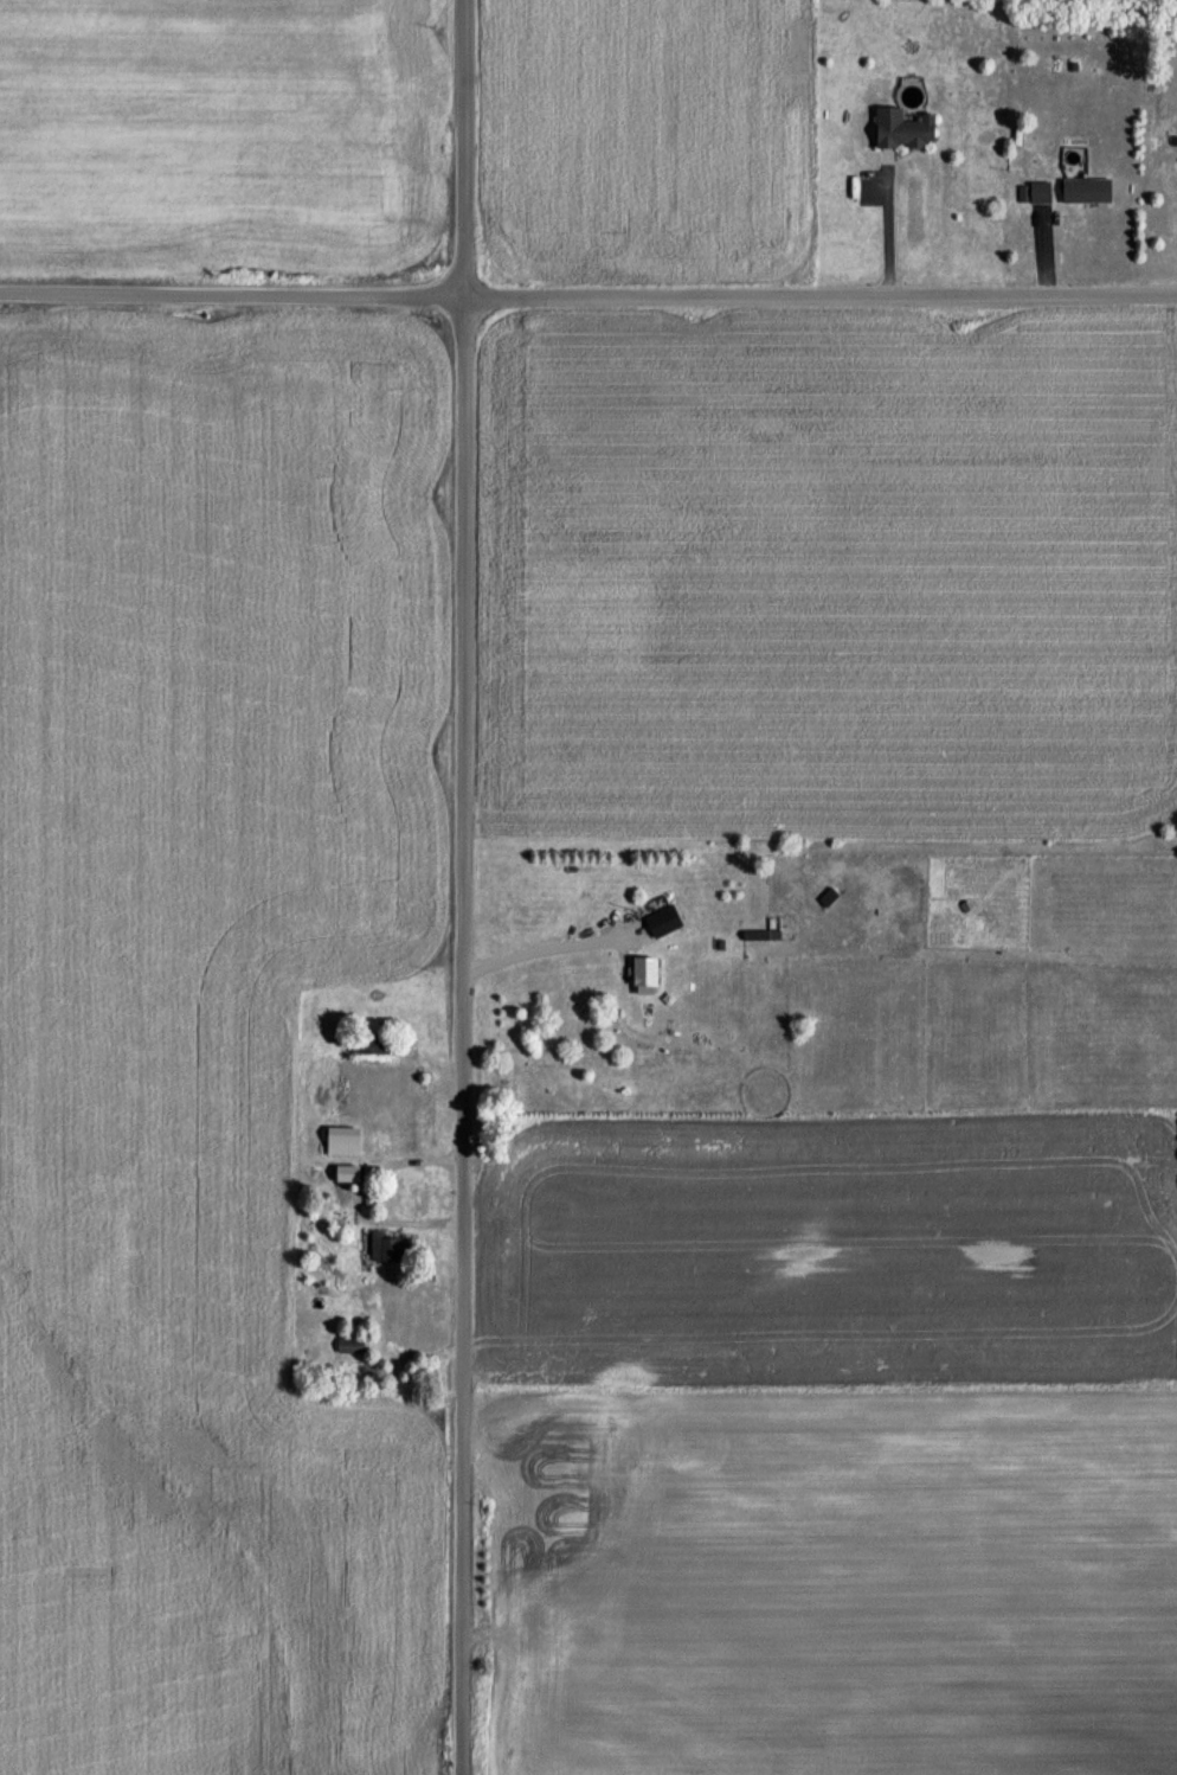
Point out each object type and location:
building: (899, 133)
building: (1083, 194)
building: (1038, 197)
road: (888, 233)
road: (587, 299)
road: (461, 886)
building: (662, 925)
road: (541, 953)
building: (641, 975)
building: (346, 1087)
building: (339, 1146)
building: (388, 1254)
building: (348, 1351)
crop: (843, 1585)

